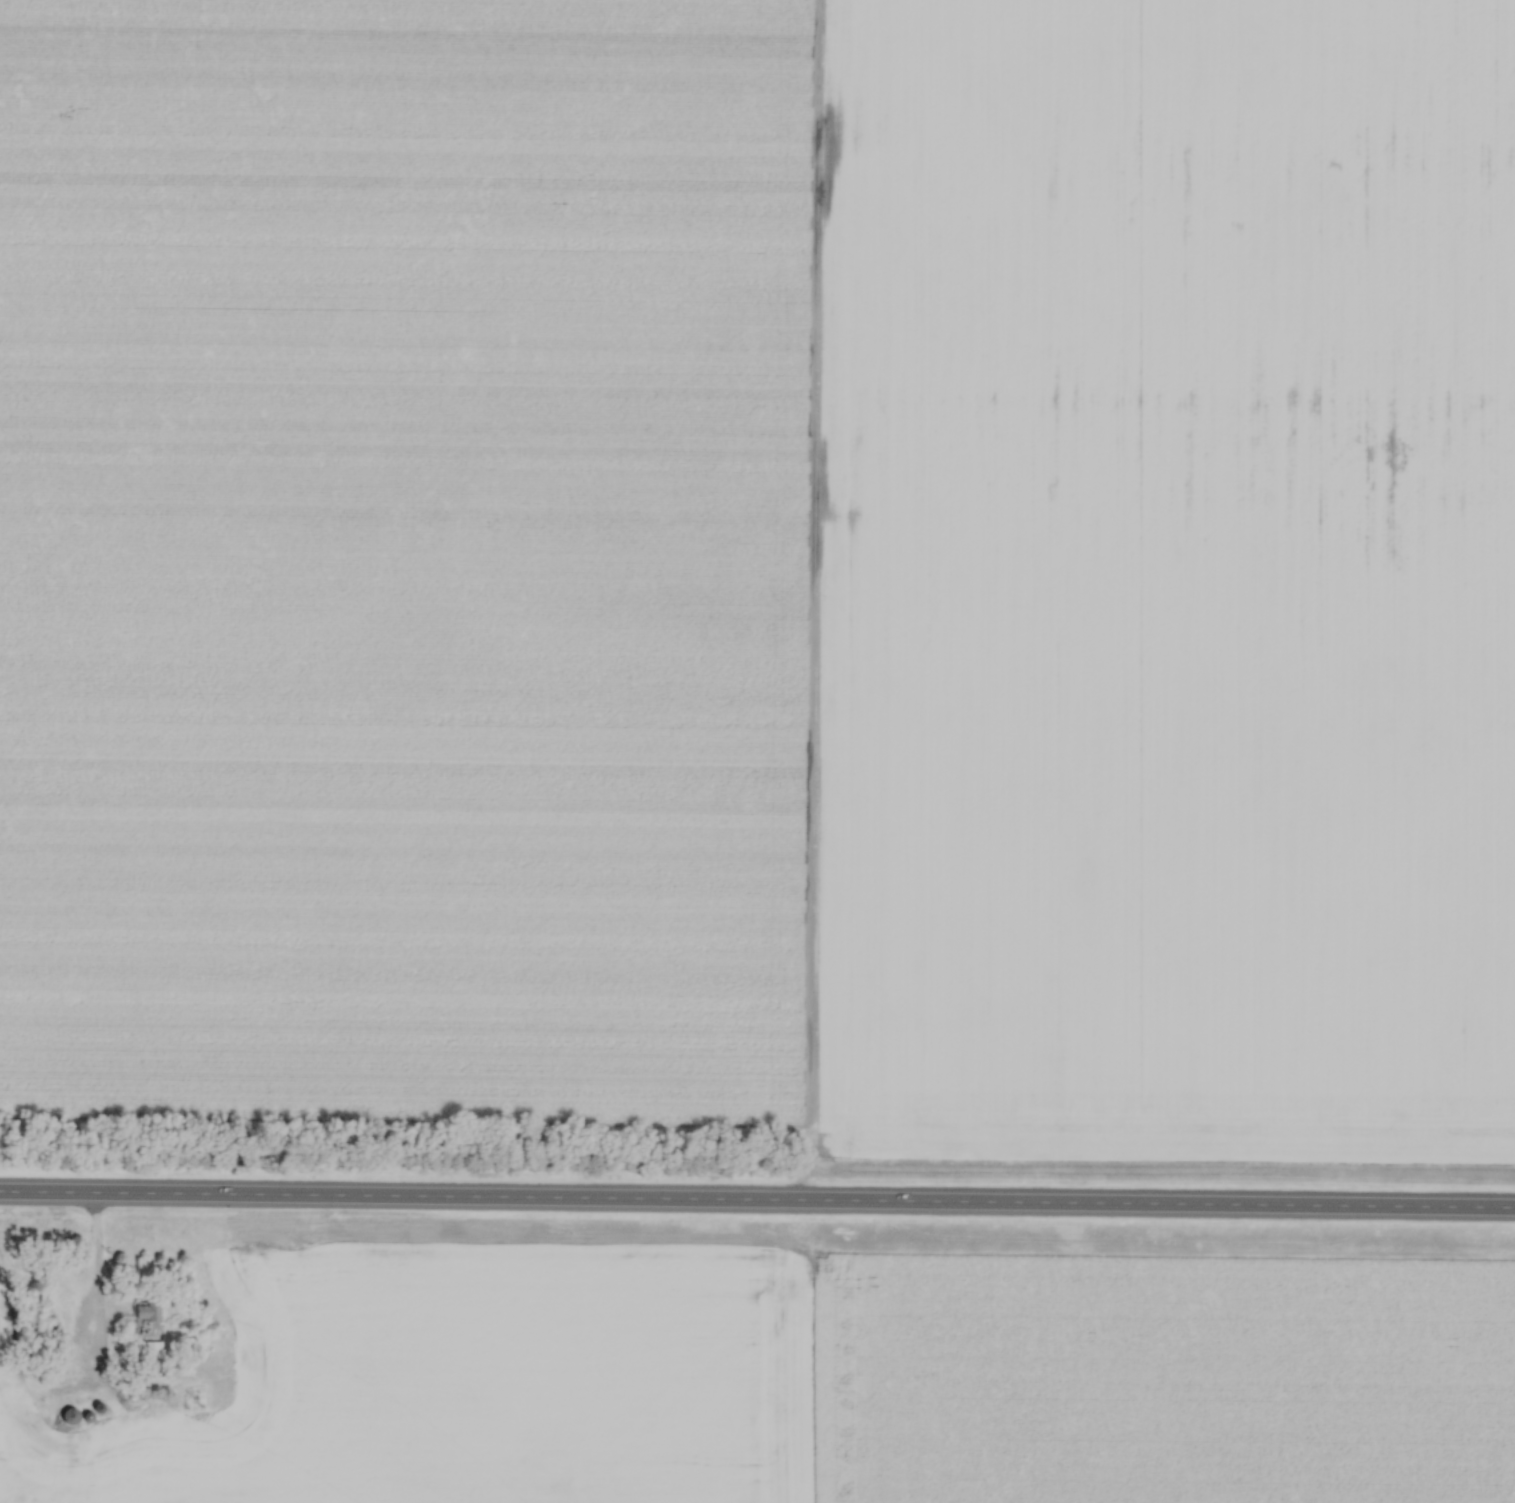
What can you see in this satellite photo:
road: (757, 1202)
road: (95, 1261)
building: (148, 1318)
building: (72, 1417)

